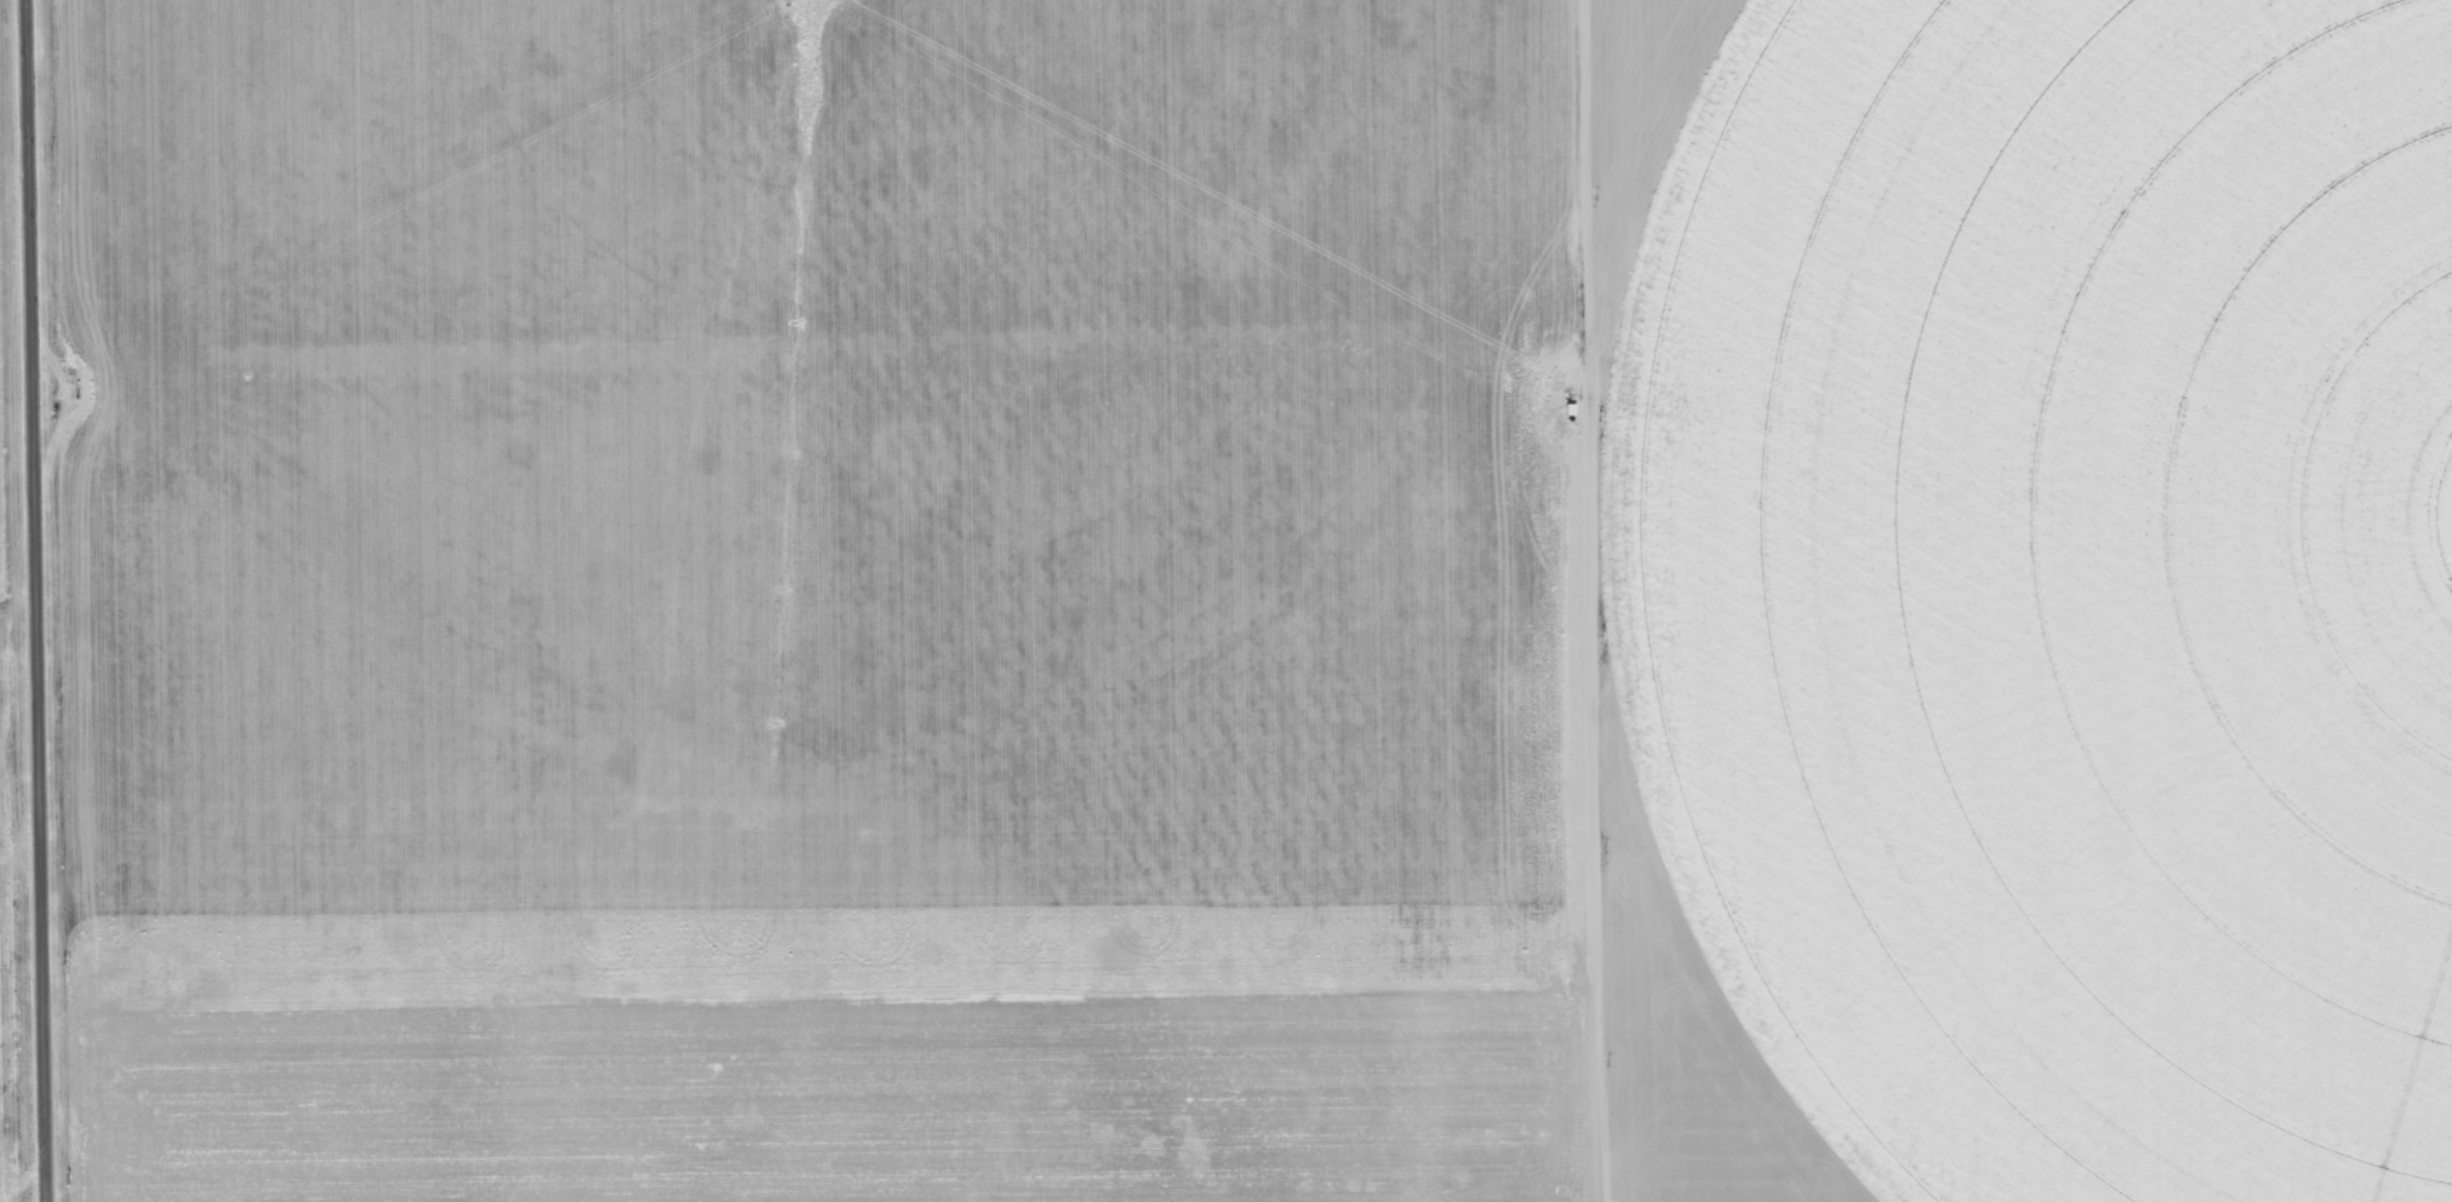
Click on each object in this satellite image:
road: (805, 378)
road: (2021, 513)
road: (1593, 600)
road: (32, 601)

